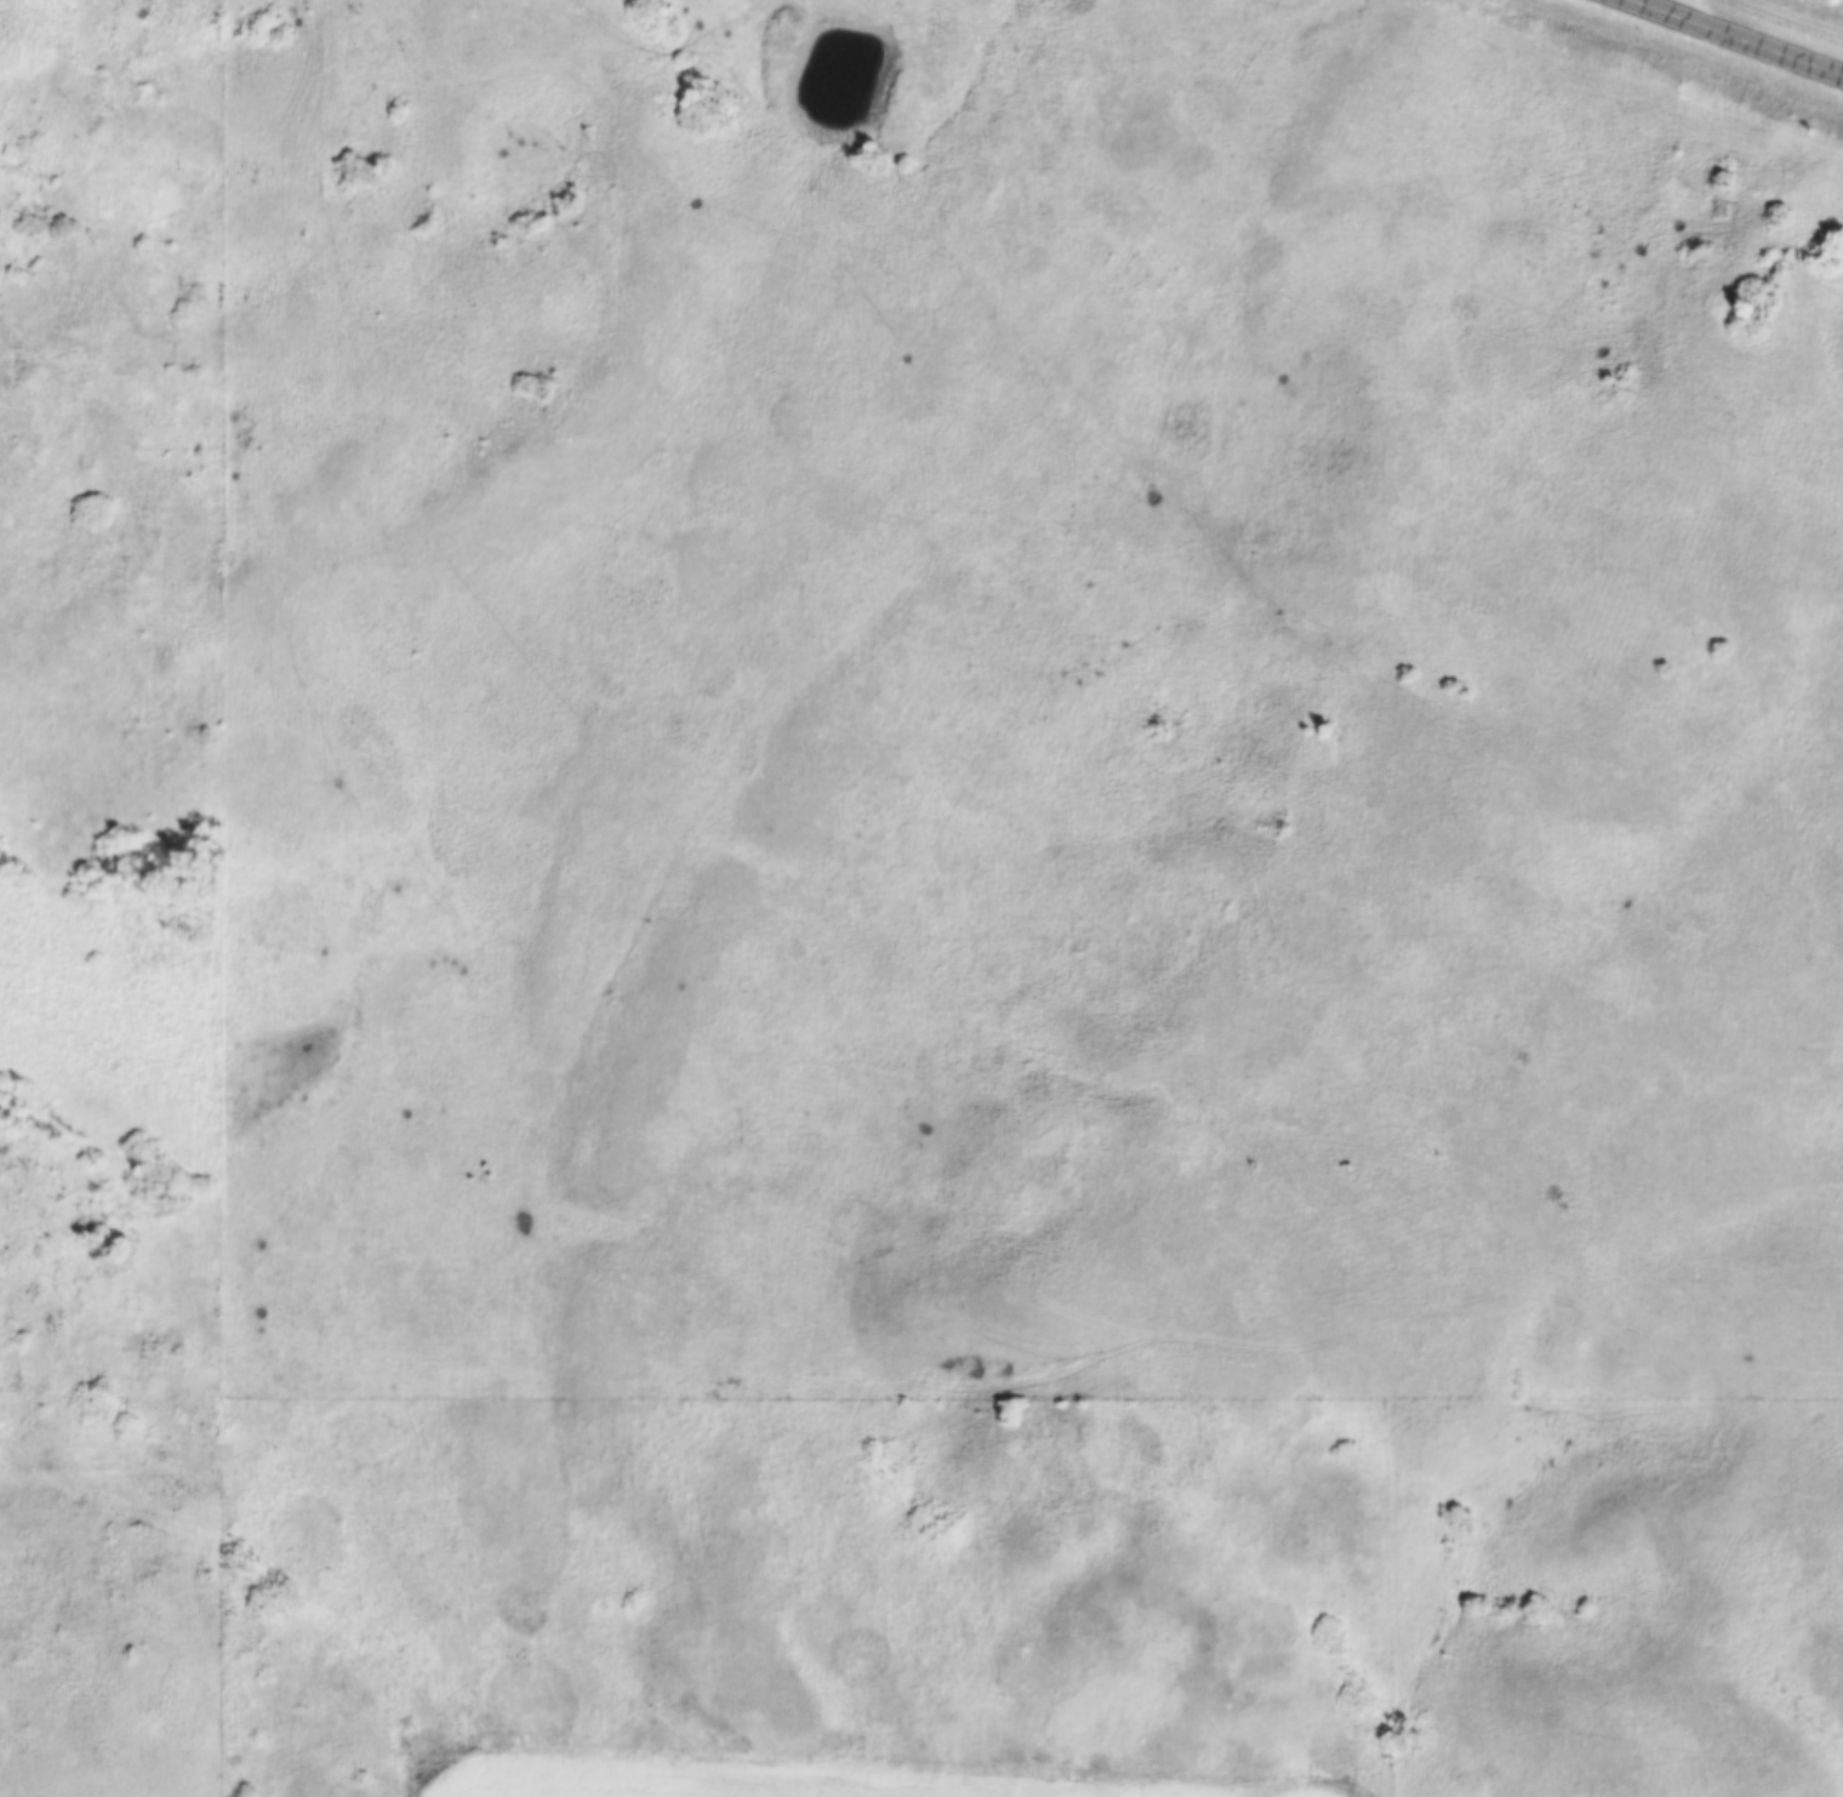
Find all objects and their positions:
road: (1744, 35)

